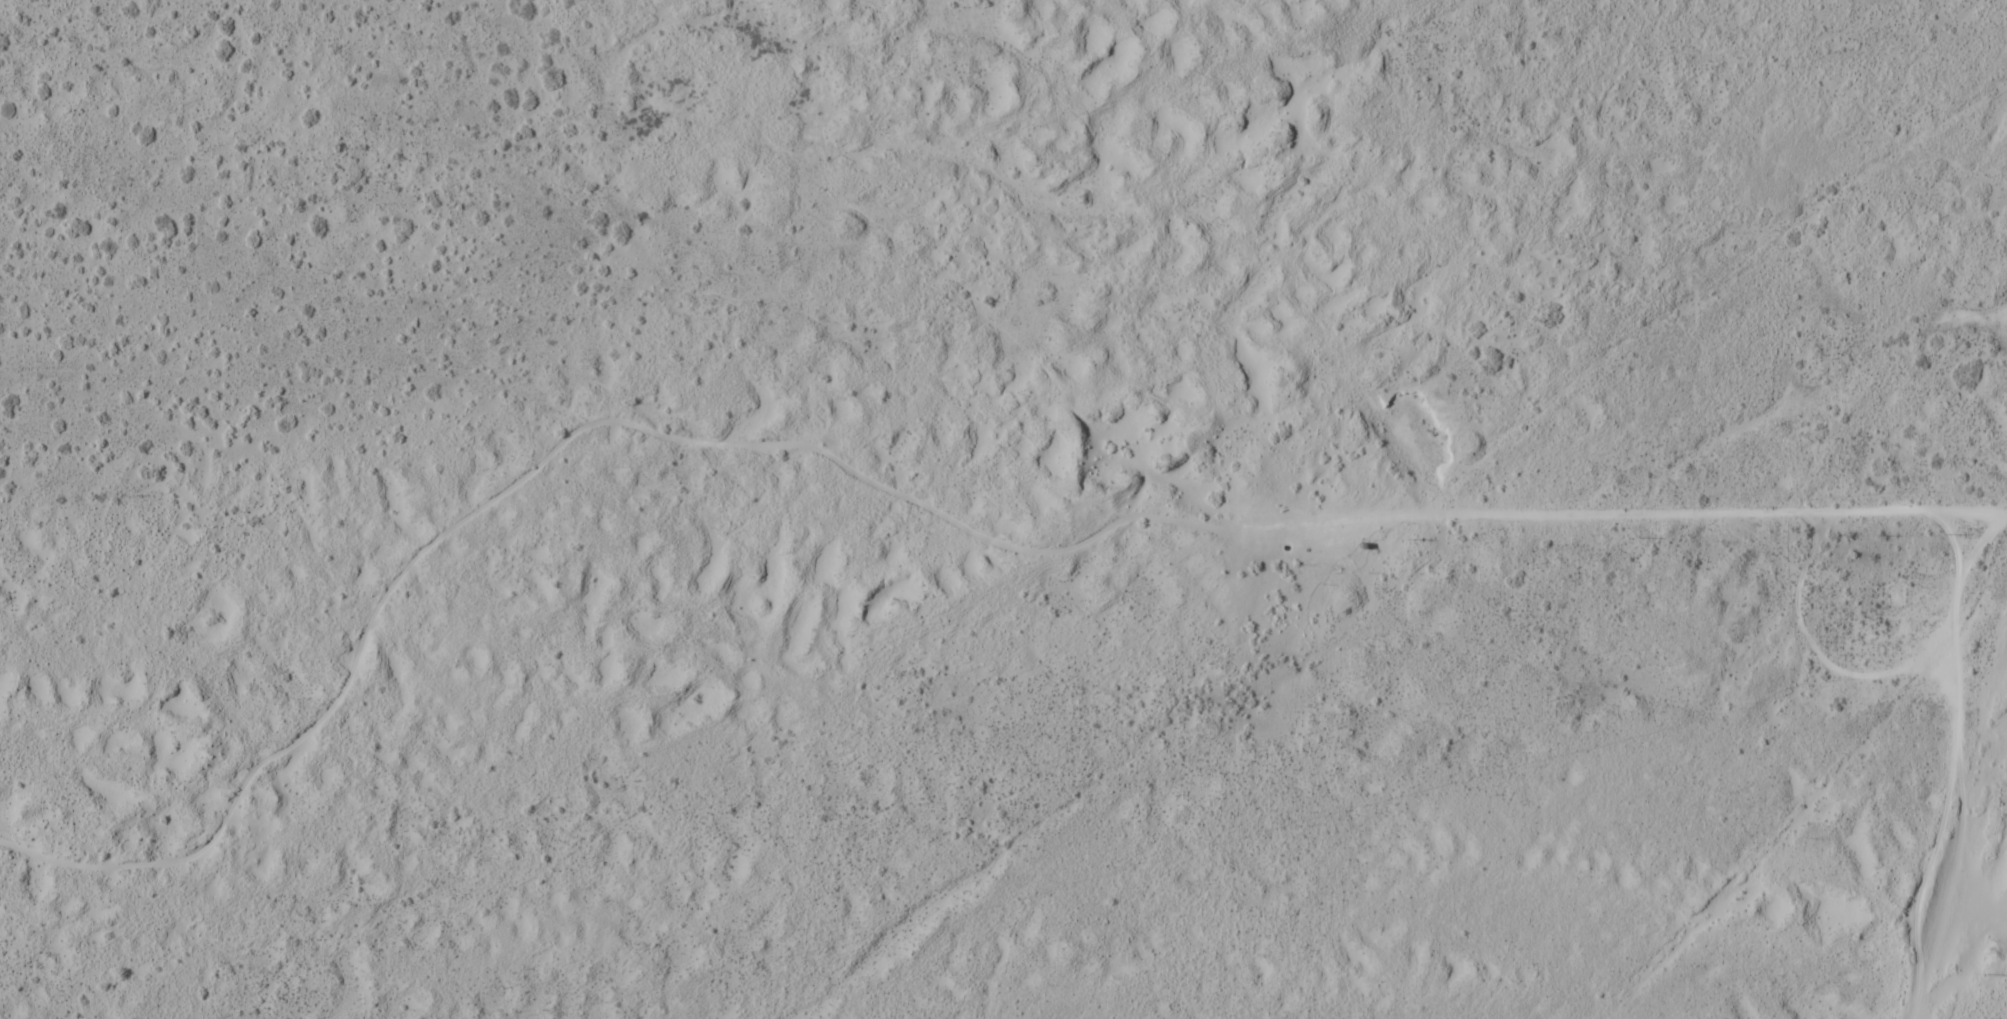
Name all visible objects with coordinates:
road: (1681, 514)
road: (1960, 761)

